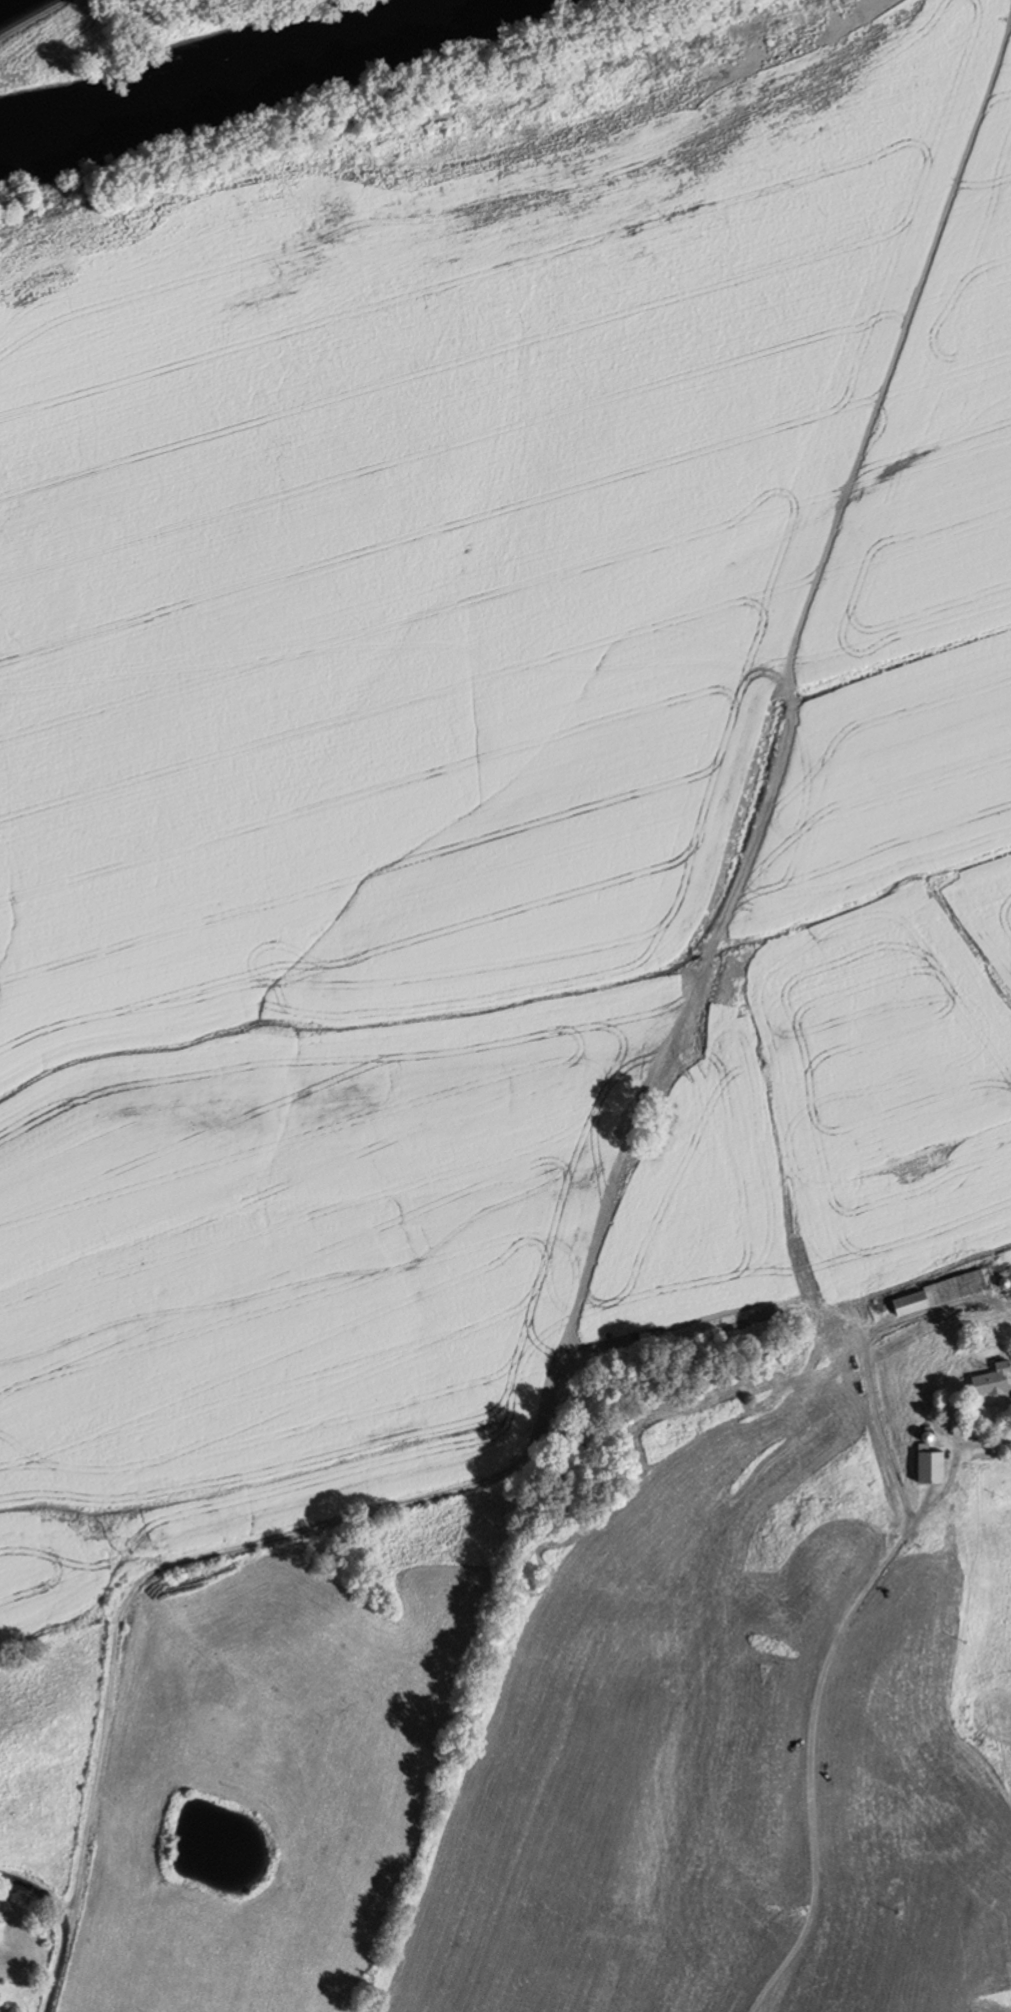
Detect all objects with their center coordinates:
road: (813, 1770)
road: (64, 1927)

